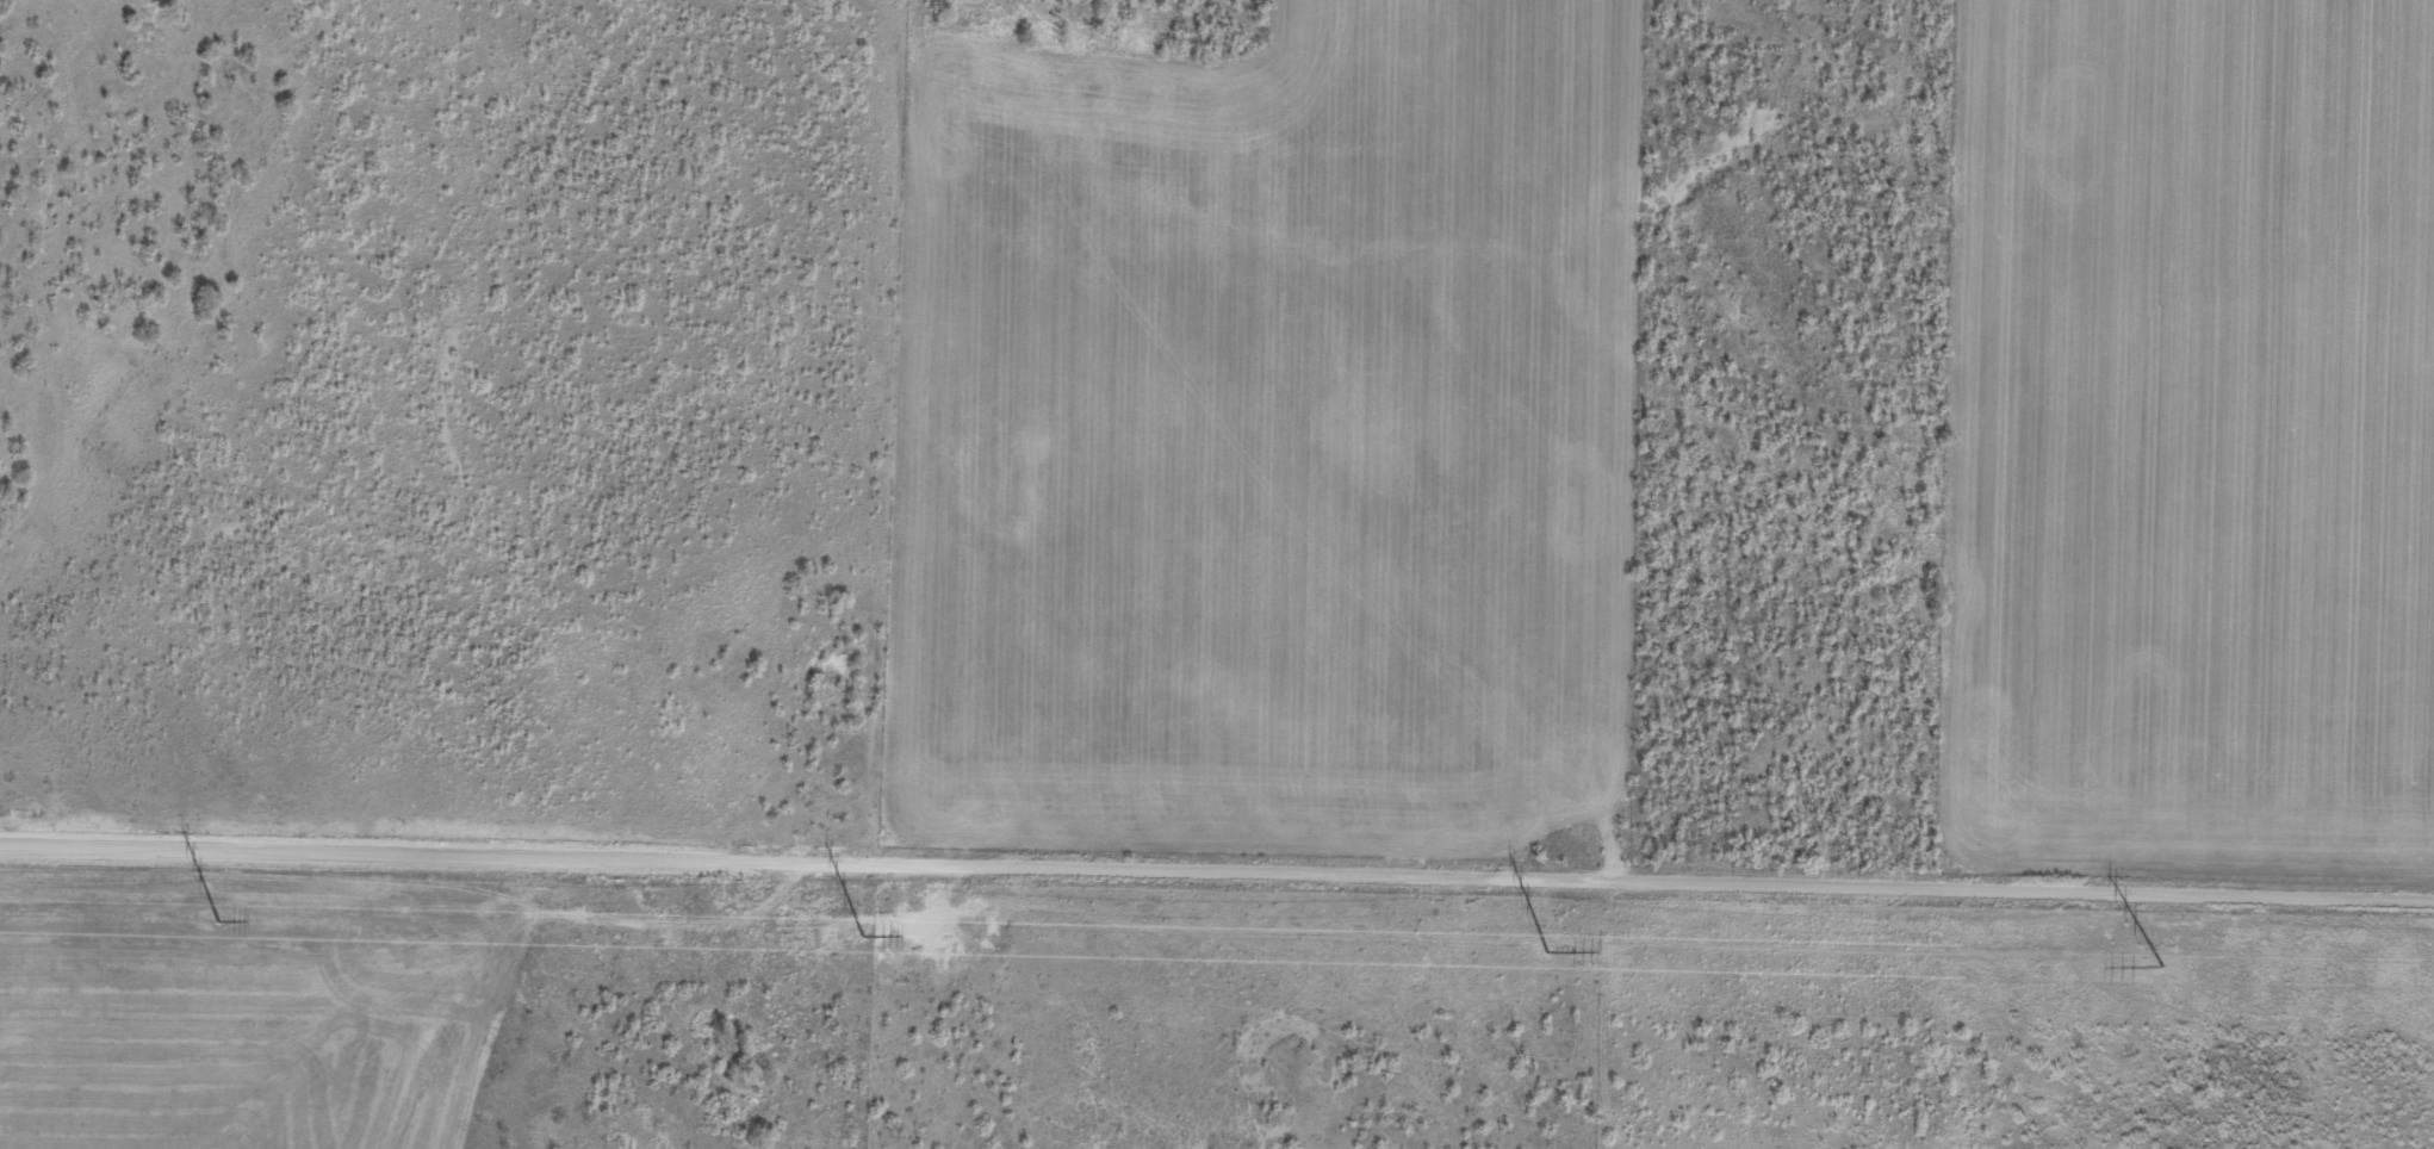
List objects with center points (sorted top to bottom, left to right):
road: (1217, 867)
power tower: (219, 920)
power tower: (863, 934)
power tower: (1550, 950)
power tower: (2161, 965)

